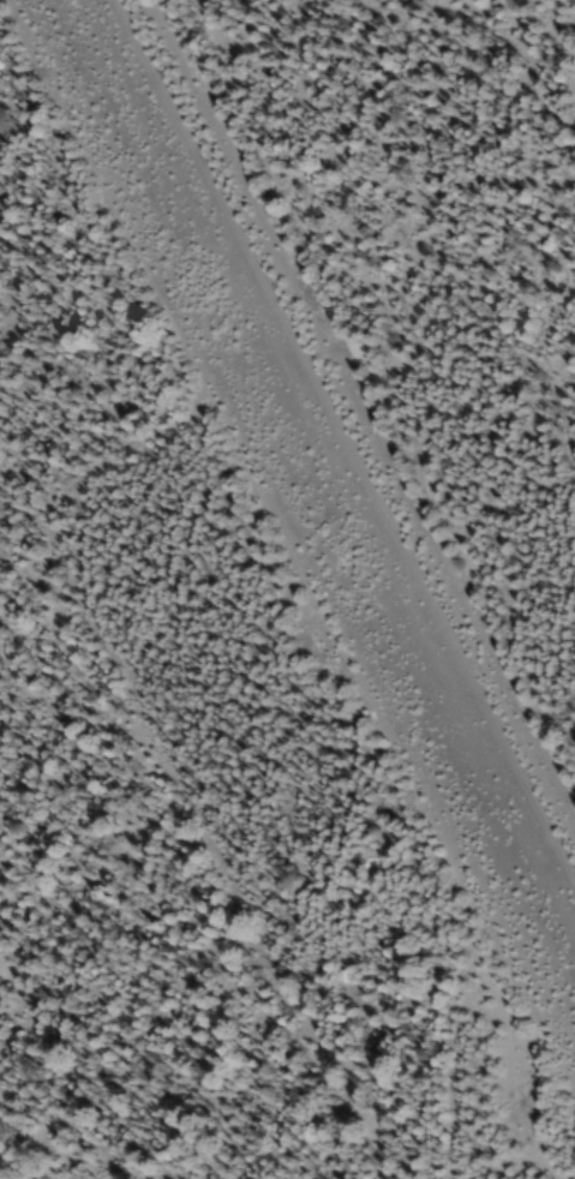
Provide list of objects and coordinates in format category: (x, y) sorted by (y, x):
road: (547, 844)

